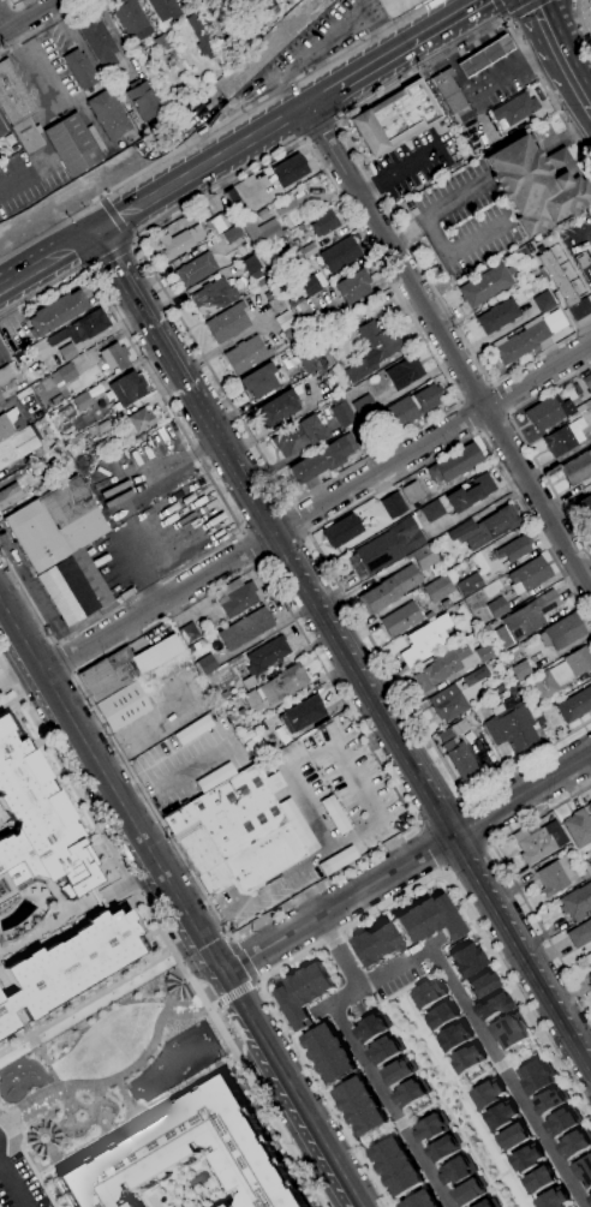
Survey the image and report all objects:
building: (189, 0)
building: (351, 0)
road: (16, 4)
road: (13, 6)
building: (396, 7)
building: (589, 7)
building: (165, 8)
building: (264, 8)
road: (6, 10)
road: (514, 13)
road: (26, 16)
building: (132, 19)
road: (505, 19)
road: (2, 24)
road: (581, 25)
road: (44, 26)
building: (202, 37)
building: (98, 41)
road: (561, 41)
building: (162, 42)
road: (399, 54)
building: (484, 56)
gas station: (484, 56)
building: (80, 68)
road: (586, 90)
building: (13, 95)
building: (452, 96)
road: (258, 100)
building: (143, 101)
building: (514, 110)
building: (108, 114)
building: (394, 116)
building: (2, 130)
building: (26, 135)
road: (323, 135)
road: (566, 138)
building: (72, 144)
road: (351, 147)
flagpole: (581, 155)
parking lot: (416, 163)
road: (515, 166)
flagpole: (589, 169)
road: (201, 171)
building: (289, 171)
road: (400, 172)
building: (536, 184)
road: (220, 190)
building: (231, 196)
road: (115, 220)
building: (323, 222)
building: (217, 223)
road: (44, 227)
building: (262, 232)
road: (434, 232)
building: (232, 233)
traffic signals: (92, 235)
road: (583, 237)
building: (180, 241)
building: (309, 250)
building: (340, 253)
road: (113, 255)
building: (283, 255)
road: (46, 263)
building: (584, 264)
building: (195, 269)
building: (253, 270)
building: (310, 285)
building: (486, 285)
building: (352, 286)
building: (562, 286)
road: (47, 293)
building: (213, 297)
building: (274, 301)
building: (544, 301)
building: (56, 312)
building: (497, 316)
road: (141, 318)
building: (228, 322)
building: (82, 328)
building: (521, 342)
road: (449, 345)
road: (220, 347)
building: (372, 349)
building: (322, 352)
building: (66, 353)
building: (247, 354)
building: (114, 355)
road: (435, 357)
road: (143, 360)
building: (308, 363)
road: (211, 370)
building: (405, 372)
building: (5, 375)
building: (64, 375)
building: (261, 381)
building: (587, 381)
building: (48, 383)
building: (127, 388)
road: (476, 392)
road: (500, 400)
building: (83, 401)
building: (587, 404)
building: (364, 405)
building: (410, 407)
building: (276, 408)
building: (341, 412)
building: (547, 412)
road: (470, 417)
building: (138, 422)
road: (495, 424)
building: (103, 428)
road: (207, 430)
building: (298, 436)
building: (14, 440)
building: (560, 441)
road: (525, 443)
building: (97, 452)
building: (323, 459)
building: (455, 464)
road: (255, 468)
building: (577, 468)
building: (38, 472)
road: (219, 491)
building: (412, 492)
building: (470, 492)
building: (10, 495)
road: (247, 497)
road: (124, 498)
road: (289, 503)
building: (393, 504)
road: (316, 507)
building: (585, 507)
building: (432, 510)
road: (298, 519)
building: (55, 524)
road: (288, 525)
road: (536, 525)
building: (494, 526)
building: (464, 527)
building: (342, 530)
road: (241, 531)
road: (251, 545)
building: (388, 546)
building: (514, 548)
road: (281, 554)
building: (424, 556)
road: (261, 560)
building: (529, 574)
road: (318, 575)
road: (334, 578)
building: (468, 584)
building: (74, 587)
building: (438, 588)
building: (389, 590)
building: (235, 597)
road: (316, 598)
building: (446, 604)
building: (497, 607)
road: (10, 616)
road: (102, 616)
building: (429, 616)
building: (526, 617)
road: (163, 619)
building: (401, 619)
building: (246, 628)
building: (485, 628)
building: (563, 631)
building: (189, 633)
building: (426, 640)
road: (30, 650)
building: (484, 652)
road: (5, 653)
road: (62, 657)
building: (264, 658)
building: (207, 664)
building: (127, 667)
building: (441, 667)
building: (520, 670)
road: (17, 671)
road: (73, 673)
building: (561, 674)
road: (19, 675)
building: (476, 676)
road: (371, 677)
building: (520, 687)
building: (276, 688)
road: (338, 692)
building: (223, 695)
building: (125, 704)
road: (371, 705)
building: (575, 705)
building: (450, 706)
building: (303, 713)
building: (238, 715)
building: (539, 719)
building: (460, 727)
building: (512, 727)
road: (96, 758)
road: (526, 758)
building: (461, 760)
road: (413, 763)
road: (435, 770)
road: (181, 781)
road: (462, 797)
road: (519, 797)
building: (589, 805)
road: (98, 813)
road: (541, 813)
road: (474, 821)
road: (417, 824)
road: (466, 825)
building: (37, 826)
building: (579, 827)
building: (234, 835)
building: (539, 841)
road: (489, 843)
road: (431, 847)
road: (459, 858)
road: (443, 871)
building: (555, 876)
road: (499, 882)
road: (173, 889)
road: (496, 896)
building: (577, 902)
road: (209, 903)
road: (243, 907)
road: (335, 907)
building: (429, 919)
road: (541, 927)
road: (162, 932)
building: (580, 933)
building: (377, 943)
road: (191, 944)
road: (180, 950)
road: (209, 951)
road: (339, 951)
road: (241, 958)
building: (468, 960)
building: (590, 961)
building: (68, 963)
road: (377, 974)
building: (590, 974)
road: (531, 976)
road: (171, 978)
road: (549, 979)
road: (256, 981)
building: (483, 984)
road: (234, 991)
road: (101, 992)
building: (303, 992)
road: (173, 993)
building: (428, 994)
road: (393, 996)
road: (517, 996)
road: (267, 1002)
building: (494, 1004)
road: (211, 1005)
street lamp: (159, 1006)
building: (441, 1017)
building: (372, 1028)
building: (511, 1030)
building: (454, 1038)
road: (262, 1039)
road: (34, 1040)
building: (384, 1051)
building: (329, 1053)
building: (467, 1059)
street lamp: (44, 1065)
road: (48, 1065)
park: (109, 1070)
building: (398, 1072)
road: (121, 1074)
road: (506, 1075)
street lamp: (130, 1076)
building: (537, 1076)
road: (259, 1080)
street lamp: (174, 1089)
building: (410, 1093)
road: (448, 1094)
building: (488, 1094)
road: (125, 1097)
road: (466, 1098)
street lamp: (1, 1100)
building: (551, 1100)
road: (389, 1104)
road: (443, 1105)
building: (360, 1106)
road: (136, 1115)
street lamp: (64, 1116)
building: (500, 1117)
road: (70, 1121)
building: (563, 1122)
road: (7, 1123)
street lamp: (111, 1127)
building: (430, 1128)
building: (513, 1137)
road: (322, 1141)
building: (575, 1143)
building: (443, 1149)
building: (186, 1152)
road: (24, 1154)
street lamp: (61, 1157)
building: (526, 1159)
building: (395, 1166)
building: (584, 1170)
building: (456, 1171)
building: (539, 1179)
road: (13, 1183)
road: (352, 1191)
building: (470, 1193)
building: (590, 1197)
building: (554, 1199)
building: (420, 1200)
building: (228, 1205)
building: (486, 1205)
road: (577, 1205)

